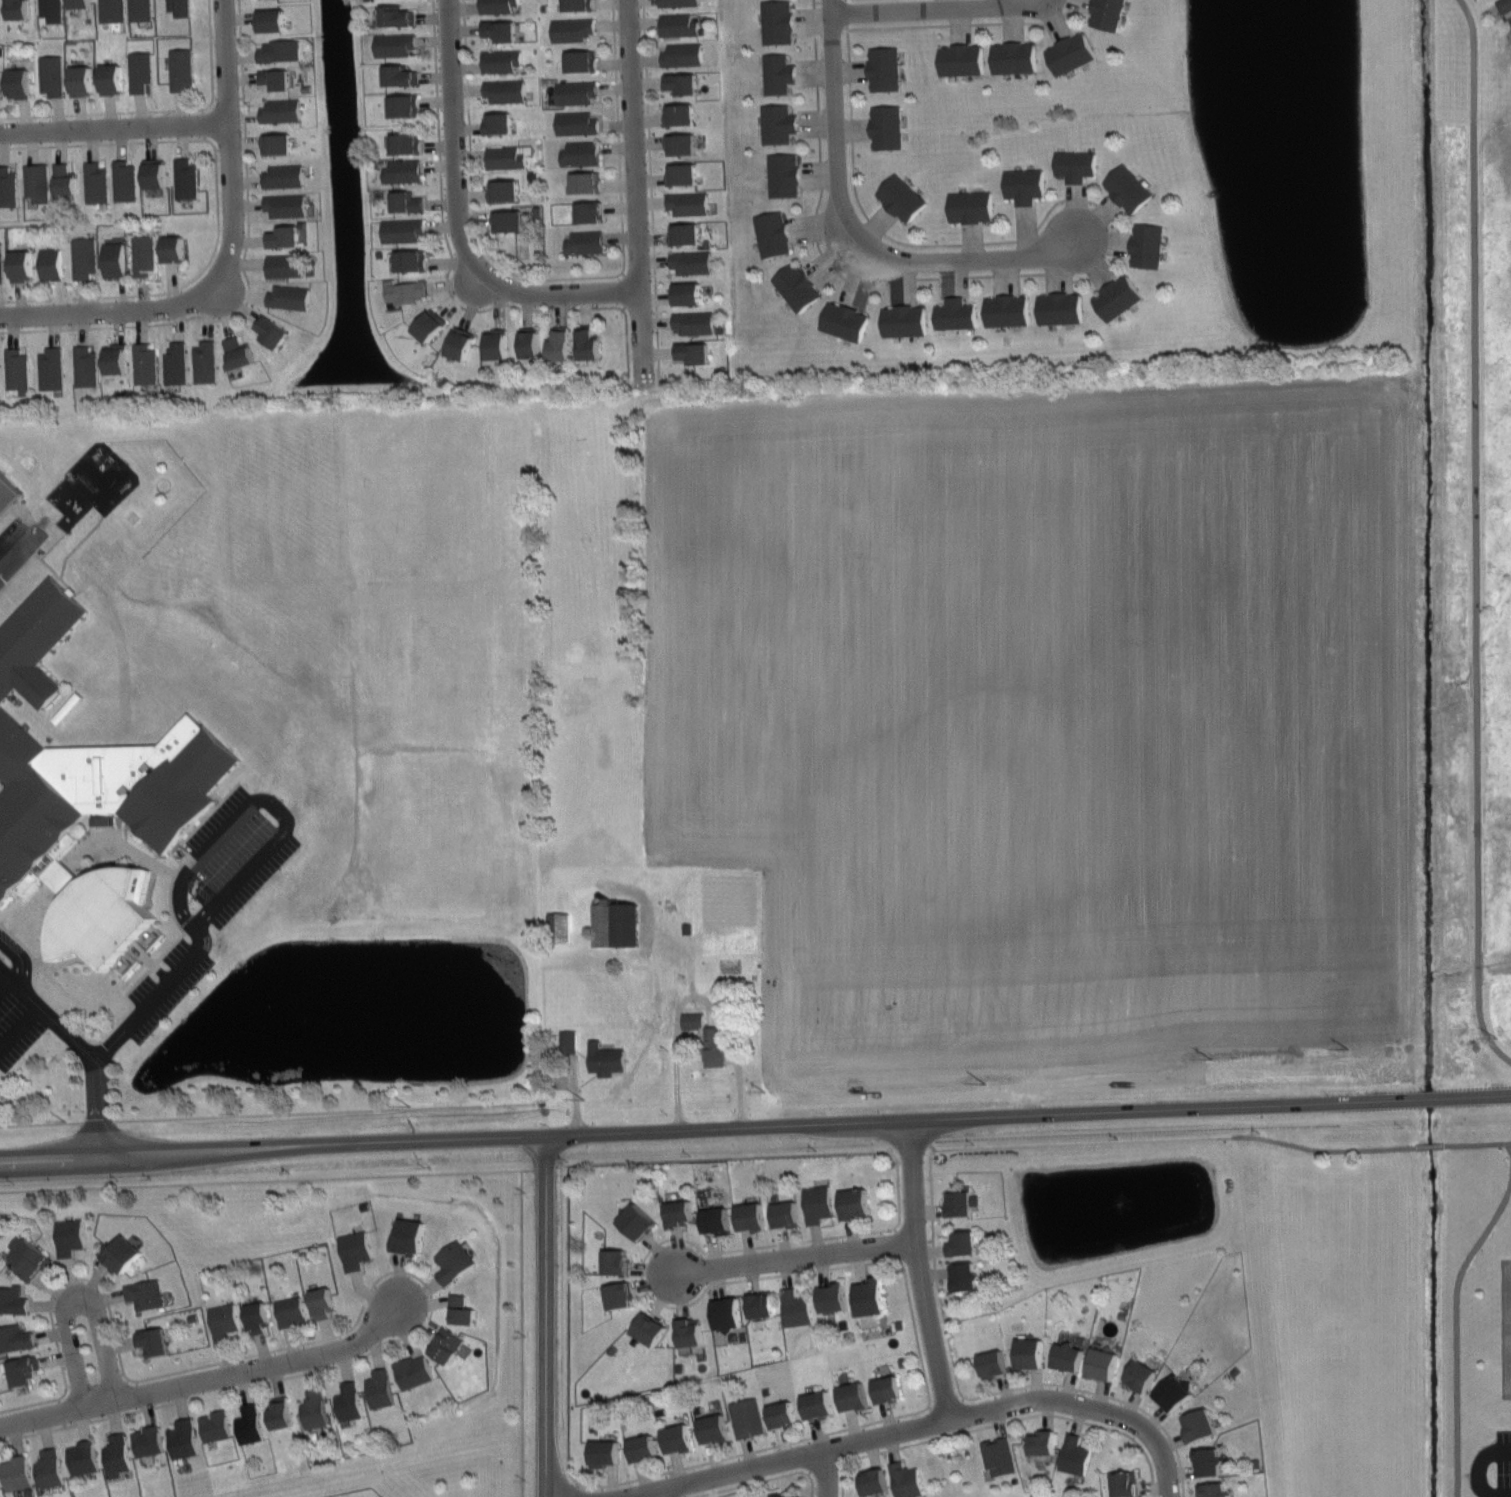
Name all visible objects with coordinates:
building: (678, 2)
building: (77, 3)
building: (577, 4)
building: (1504, 5)
building: (176, 6)
building: (497, 6)
road: (928, 7)
building: (1, 8)
building: (14, 8)
building: (48, 9)
building: (137, 9)
building: (108, 10)
road: (1508, 13)
building: (1107, 14)
building: (393, 15)
building: (270, 19)
building: (777, 22)
building: (679, 24)
building: (500, 29)
building: (572, 29)
building: (391, 43)
building: (279, 50)
building: (683, 53)
building: (1069, 53)
building: (1014, 57)
building: (581, 60)
building: (961, 60)
building: (502, 61)
park: (1467, 65)
building: (177, 68)
building: (137, 69)
building: (885, 69)
building: (778, 73)
building: (49, 74)
building: (396, 74)
building: (108, 78)
building: (273, 78)
building: (78, 79)
building: (16, 82)
building: (683, 83)
building: (2, 84)
building: (506, 90)
building: (576, 92)
building: (400, 105)
road: (157, 109)
building: (280, 111)
building: (682, 114)
road: (838, 118)
building: (499, 122)
building: (576, 122)
building: (779, 124)
road: (113, 127)
building: (887, 127)
building: (402, 142)
building: (680, 143)
building: (275, 144)
road: (226, 145)
building: (581, 153)
building: (506, 157)
building: (1076, 165)
building: (400, 169)
building: (151, 172)
building: (682, 174)
building: (784, 175)
building: (283, 176)
building: (183, 177)
building: (61, 178)
building: (33, 180)
building: (122, 180)
building: (92, 181)
building: (585, 182)
building: (1024, 185)
crop: (1499, 185)
building: (7, 186)
road: (650, 186)
building: (1128, 188)
building: (504, 190)
road: (635, 191)
building: (902, 197)
road: (1072, 199)
building: (402, 200)
building: (688, 202)
building: (284, 204)
road: (216, 206)
building: (971, 206)
building: (589, 212)
road: (455, 219)
building: (509, 220)
building: (399, 229)
building: (685, 234)
building: (772, 234)
building: (281, 236)
building: (585, 242)
building: (1148, 246)
building: (170, 247)
building: (141, 253)
building: (81, 256)
building: (111, 258)
road: (961, 258)
building: (407, 260)
building: (48, 262)
building: (691, 262)
building: (1, 264)
building: (18, 265)
building: (284, 265)
road: (448, 270)
road: (246, 277)
road: (558, 277)
building: (796, 286)
building: (402, 290)
building: (687, 293)
building: (287, 297)
building: (1118, 297)
building: (1060, 309)
road: (115, 311)
building: (1008, 311)
building: (956, 314)
building: (904, 321)
building: (695, 322)
building: (845, 322)
building: (424, 325)
building: (268, 330)
building: (525, 342)
building: (456, 343)
building: (556, 343)
building: (584, 343)
building: (493, 344)
building: (237, 352)
building: (694, 353)
building: (114, 359)
building: (204, 361)
building: (174, 363)
building: (144, 364)
building: (84, 365)
building: (50, 368)
building: (17, 371)
park: (405, 460)
building: (6, 493)
road: (10, 506)
park: (585, 510)
road: (1472, 536)
road: (77, 543)
building: (101, 563)
road: (52, 570)
parking lot: (1, 581)
road: (78, 585)
crop: (1052, 723)
park: (588, 791)
building: (91, 792)
road: (274, 805)
parking lot: (215, 891)
road: (10, 904)
road: (24, 916)
road: (183, 921)
building: (616, 924)
building: (559, 926)
building: (688, 927)
road: (41, 961)
building: (99, 961)
road: (13, 975)
road: (165, 982)
road: (698, 998)
parking lot: (19, 1012)
road: (27, 1018)
building: (693, 1020)
road: (91, 1029)
building: (568, 1041)
building: (709, 1045)
road: (110, 1046)
road: (583, 1054)
building: (605, 1058)
road: (587, 1079)
road: (575, 1095)
road: (325, 1111)
road: (97, 1120)
road: (41, 1122)
road: (755, 1131)
road: (1223, 1138)
road: (727, 1157)
road: (562, 1163)
road: (527, 1168)
road: (260, 1179)
building: (818, 1203)
building: (961, 1203)
building: (855, 1204)
fountain: (1129, 1204)
building: (680, 1213)
building: (786, 1213)
building: (751, 1216)
building: (716, 1220)
building: (638, 1221)
building: (406, 1235)
building: (70, 1236)
building: (963, 1243)
building: (355, 1250)
building: (118, 1253)
building: (29, 1258)
road: (797, 1258)
building: (616, 1260)
building: (454, 1262)
road: (845, 1265)
road: (917, 1273)
building: (965, 1276)
park: (1506, 1292)
building: (145, 1293)
road: (560, 1294)
building: (619, 1295)
building: (870, 1296)
park: (1378, 1296)
road: (74, 1297)
building: (832, 1297)
building: (13, 1299)
building: (322, 1302)
building: (760, 1303)
road: (362, 1306)
building: (796, 1308)
building: (460, 1309)
building: (291, 1310)
building: (727, 1313)
building: (258, 1316)
road: (546, 1318)
building: (224, 1321)
building: (649, 1328)
building: (689, 1331)
road: (1456, 1332)
road: (521, 1333)
building: (16, 1339)
building: (154, 1340)
building: (446, 1344)
building: (1029, 1352)
building: (1068, 1356)
building: (993, 1363)
building: (1103, 1364)
park: (1506, 1364)
building: (24, 1370)
building: (413, 1371)
building: (1141, 1375)
road: (208, 1376)
building: (887, 1388)
building: (380, 1389)
building: (1174, 1392)
building: (853, 1396)
road: (980, 1396)
building: (349, 1402)
building: (817, 1404)
building: (314, 1409)
building: (281, 1413)
park: (1357, 1414)
building: (783, 1415)
building: (748, 1417)
road: (1131, 1419)
road: (1003, 1421)
building: (250, 1424)
building: (1199, 1425)
building: (215, 1426)
building: (714, 1428)
building: (677, 1437)
building: (183, 1439)
building: (148, 1440)
building: (1043, 1443)
building: (643, 1448)
road: (841, 1448)
building: (604, 1452)
building: (1074, 1454)
building: (118, 1455)
road: (956, 1455)
building: (1001, 1455)
building: (84, 1457)
building: (1208, 1461)
parking lot: (1503, 1463)
park: (953, 1465)
road: (1479, 1466)
building: (50, 1469)
building: (17, 1473)
road: (826, 1475)
road: (761, 1479)
building: (907, 1480)
building: (874, 1482)
building: (1126, 1483)
building: (1, 1485)
building: (1214, 1490)
road: (661, 1495)
building: (784, 1496)

